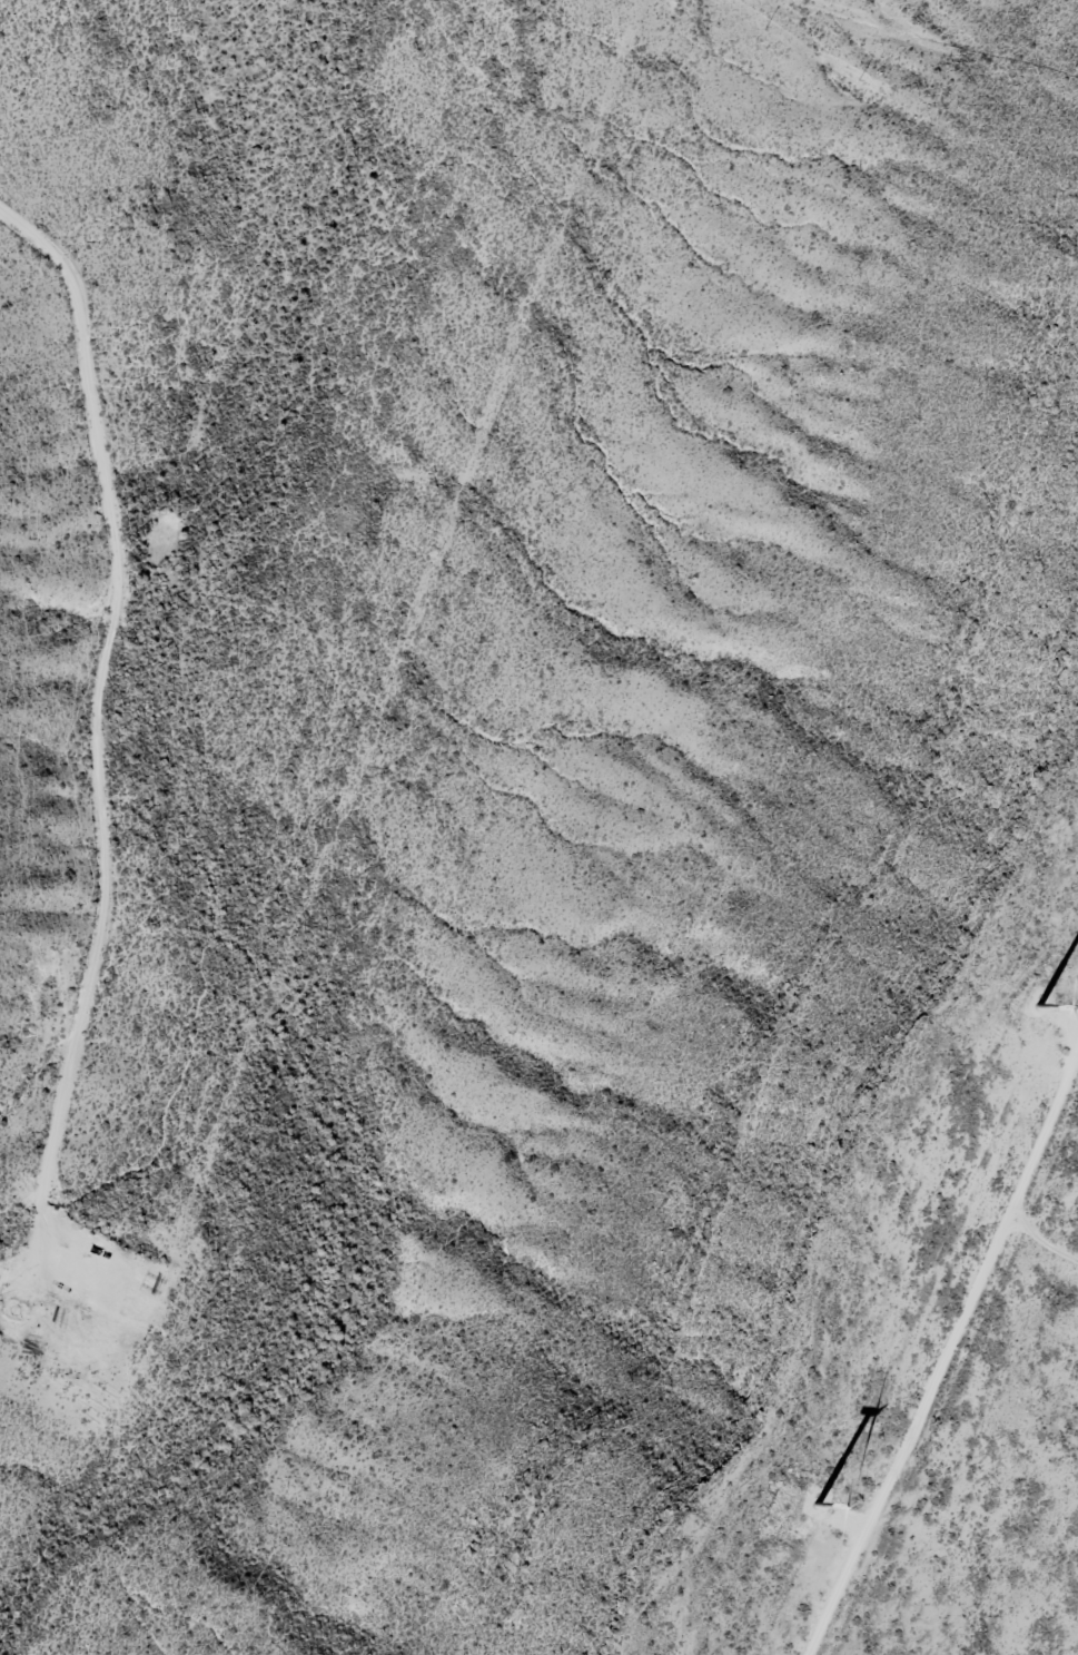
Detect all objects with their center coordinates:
wind turbine: (1029, 1008)
wind turbine: (813, 1490)

